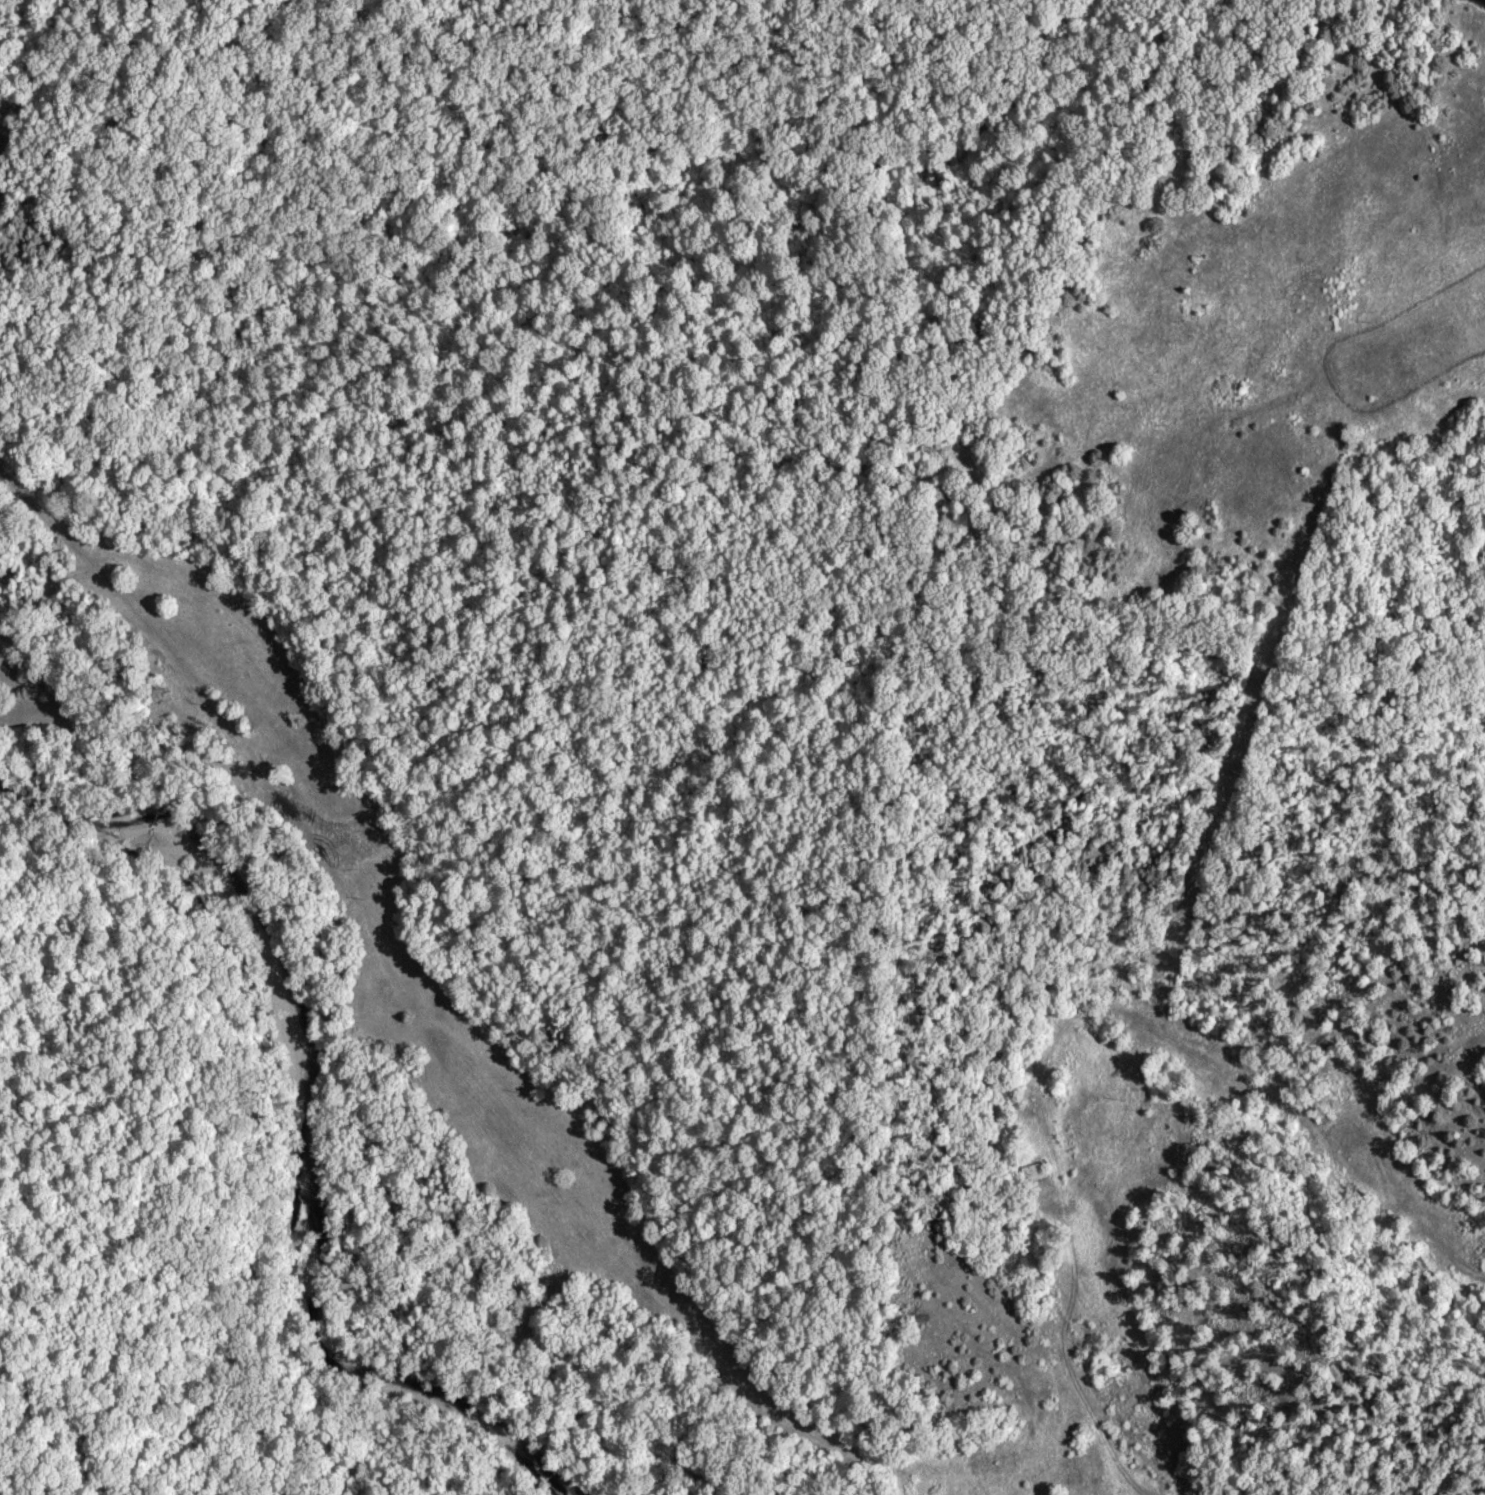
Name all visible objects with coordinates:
road: (27, 34)

